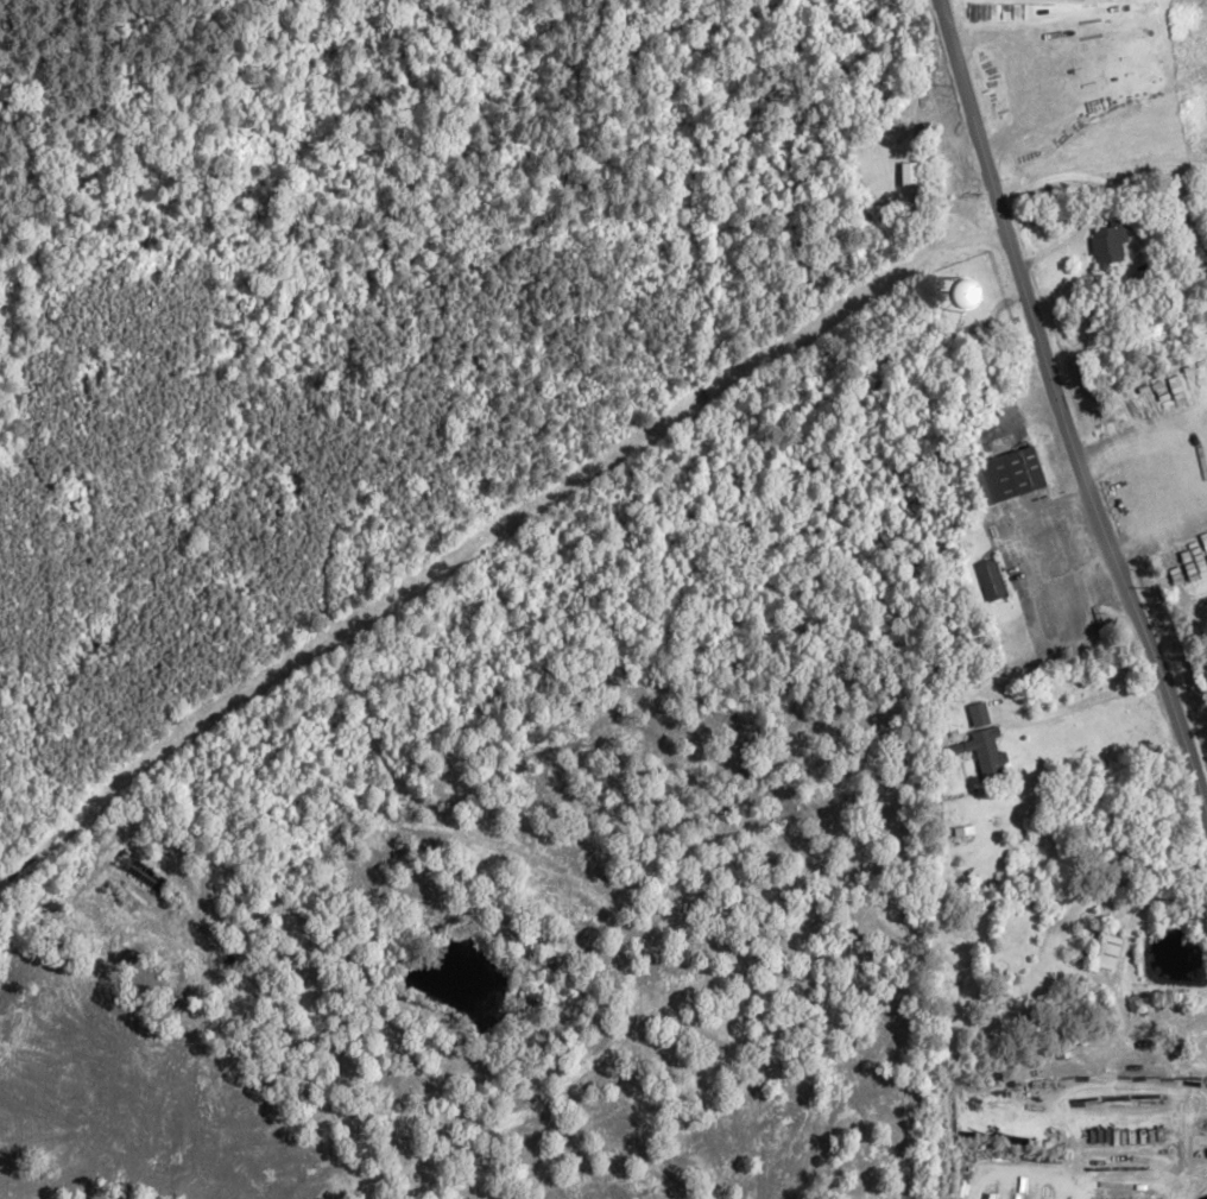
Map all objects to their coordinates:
road: (1097, 169)
building: (909, 173)
road: (1118, 189)
building: (1108, 242)
building: (1177, 261)
road: (1061, 414)
building: (1001, 429)
building: (1012, 474)
building: (990, 580)
road: (1079, 703)
building: (988, 756)
building: (144, 873)
building: (1108, 949)

